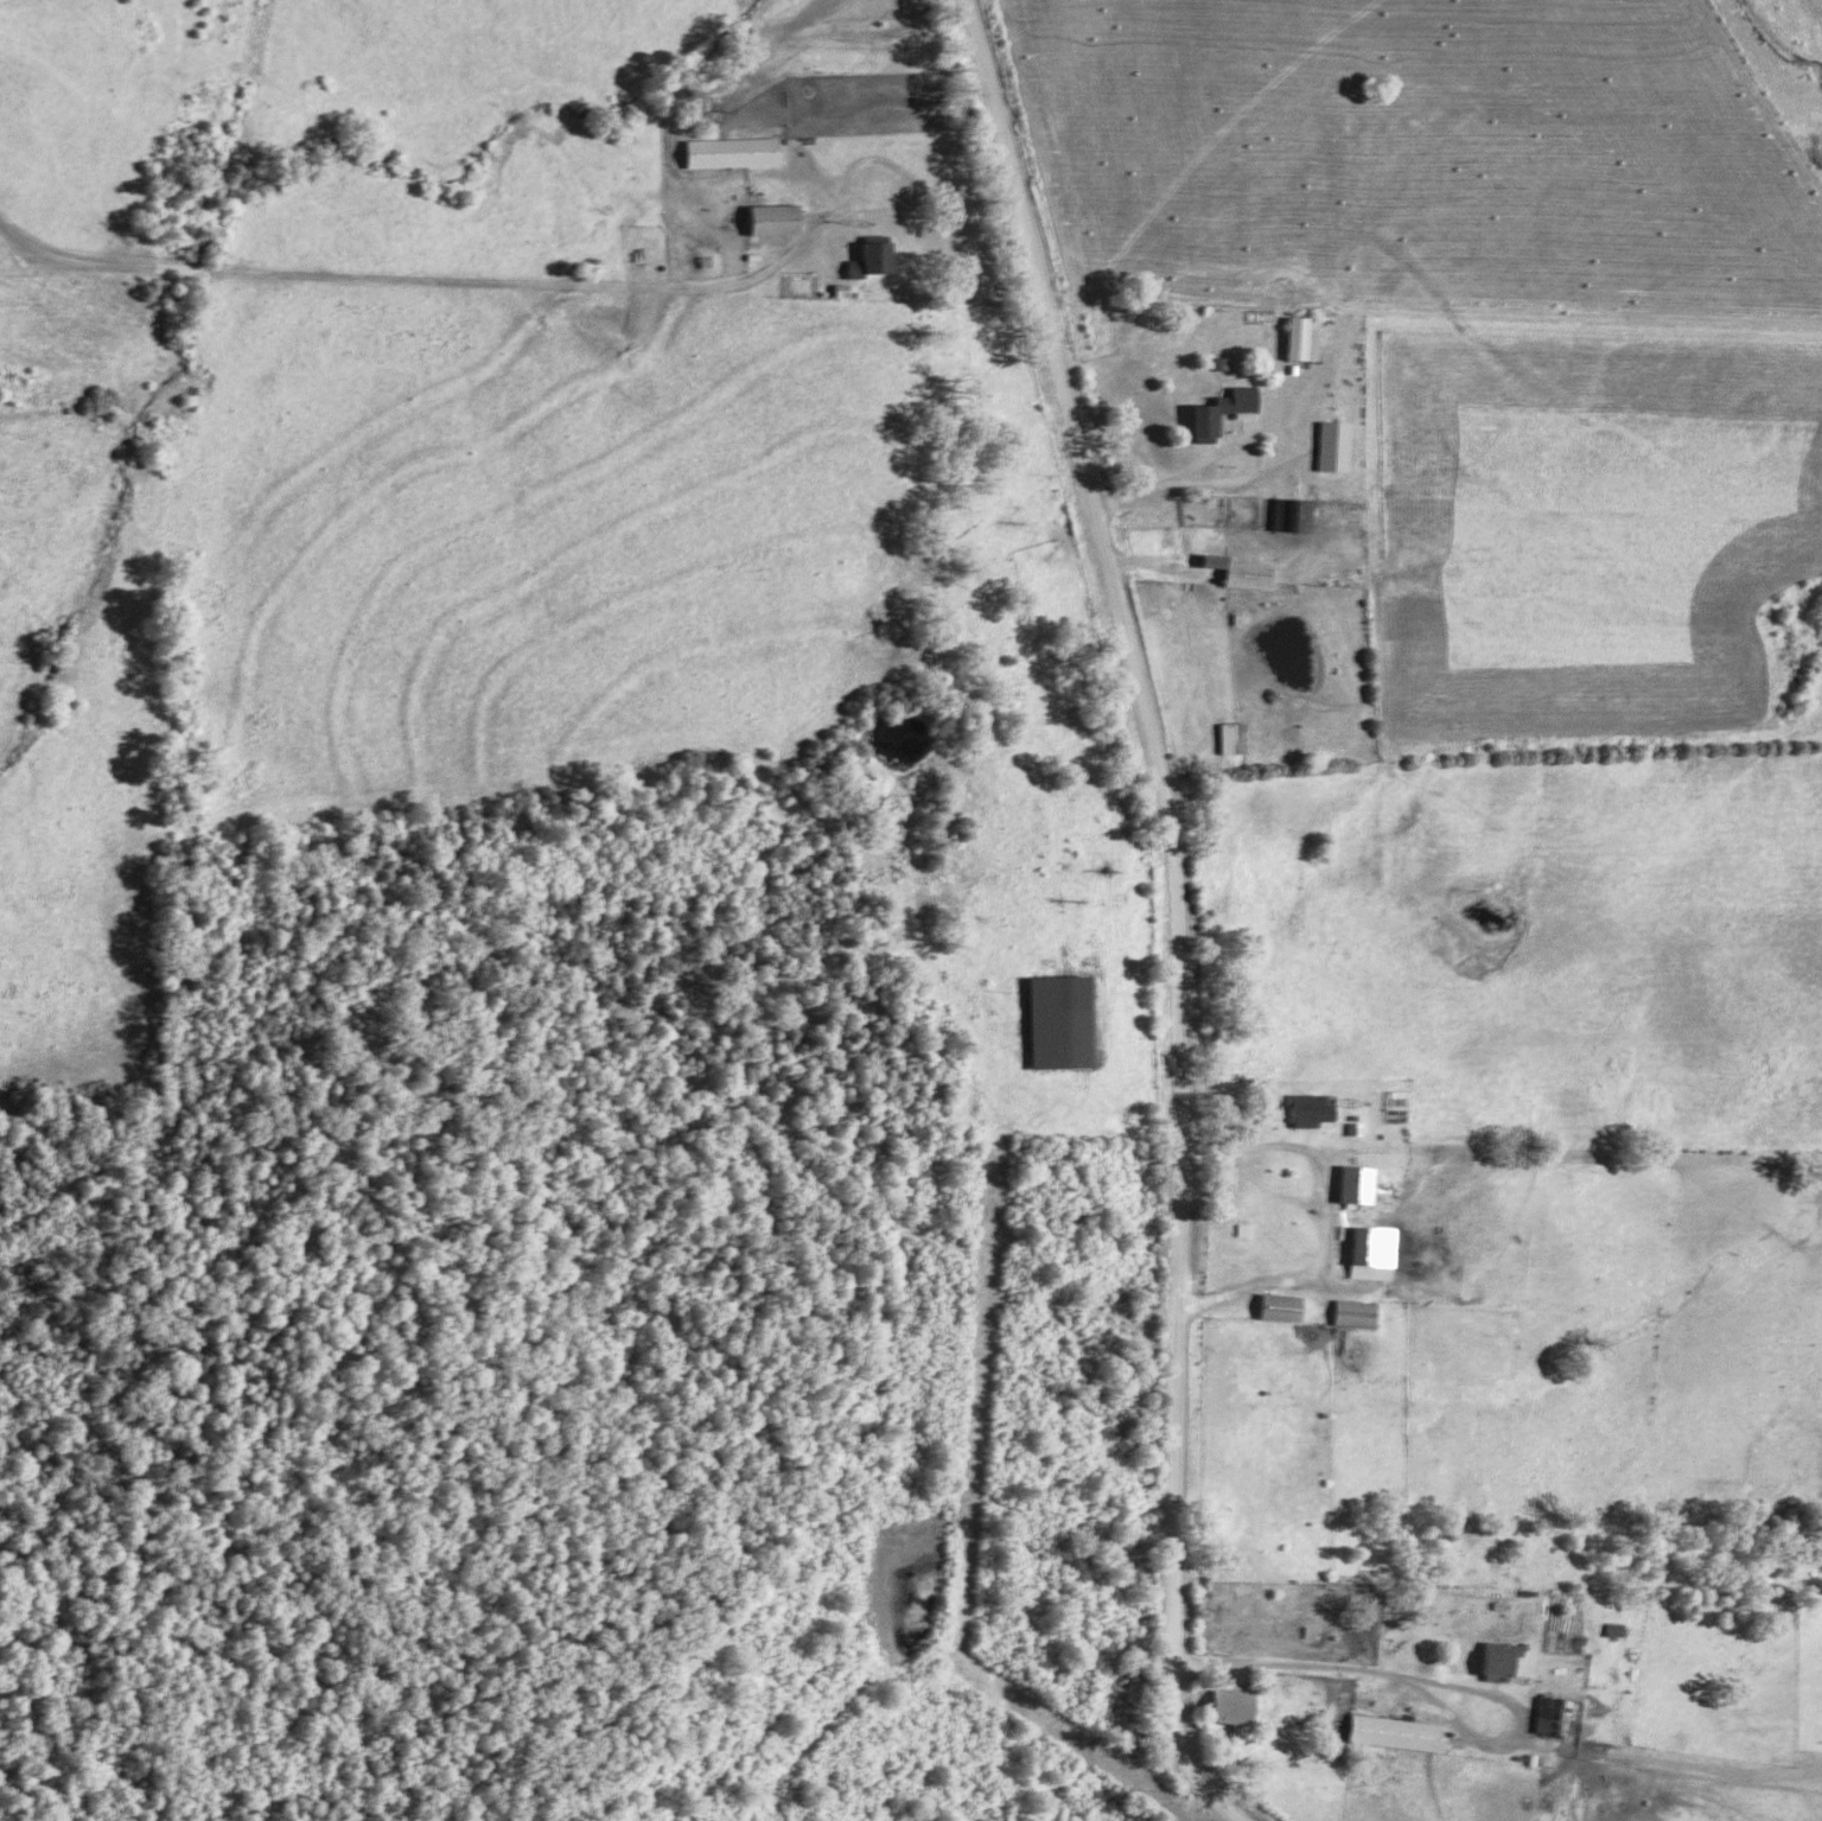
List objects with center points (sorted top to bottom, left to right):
building: (737, 154)
building: (777, 221)
building: (879, 259)
building: (1306, 337)
building: (1227, 409)
building: (1339, 446)
road: (1242, 479)
building: (1298, 514)
building: (1246, 571)
building: (1237, 737)
road: (1170, 908)
building: (1314, 1109)
building: (1361, 1184)
building: (1376, 1253)
building: (1286, 1307)
building: (1361, 1313)
building: (1503, 1658)
building: (1236, 1711)
building: (1556, 1717)
building: (1402, 1733)

